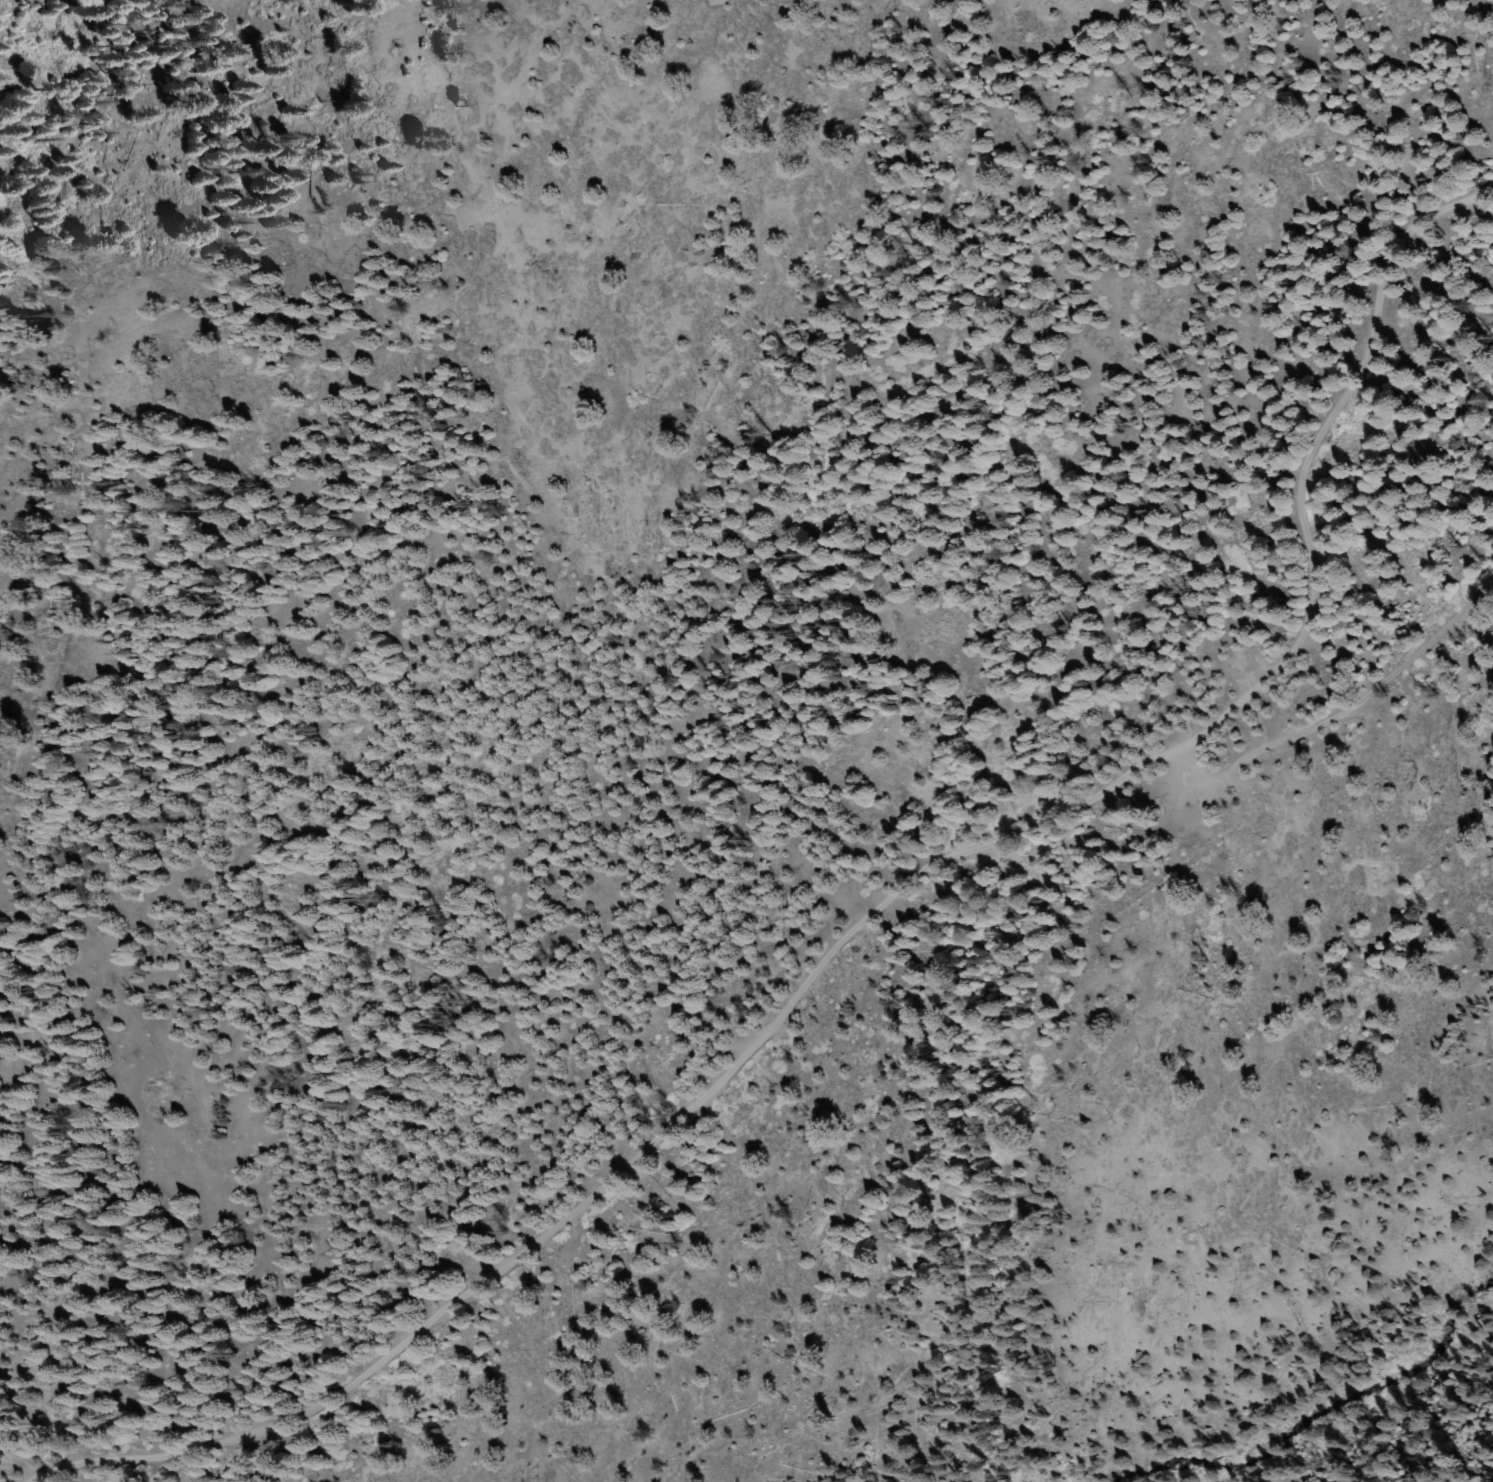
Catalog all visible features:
road: (1362, 712)
road: (873, 914)

